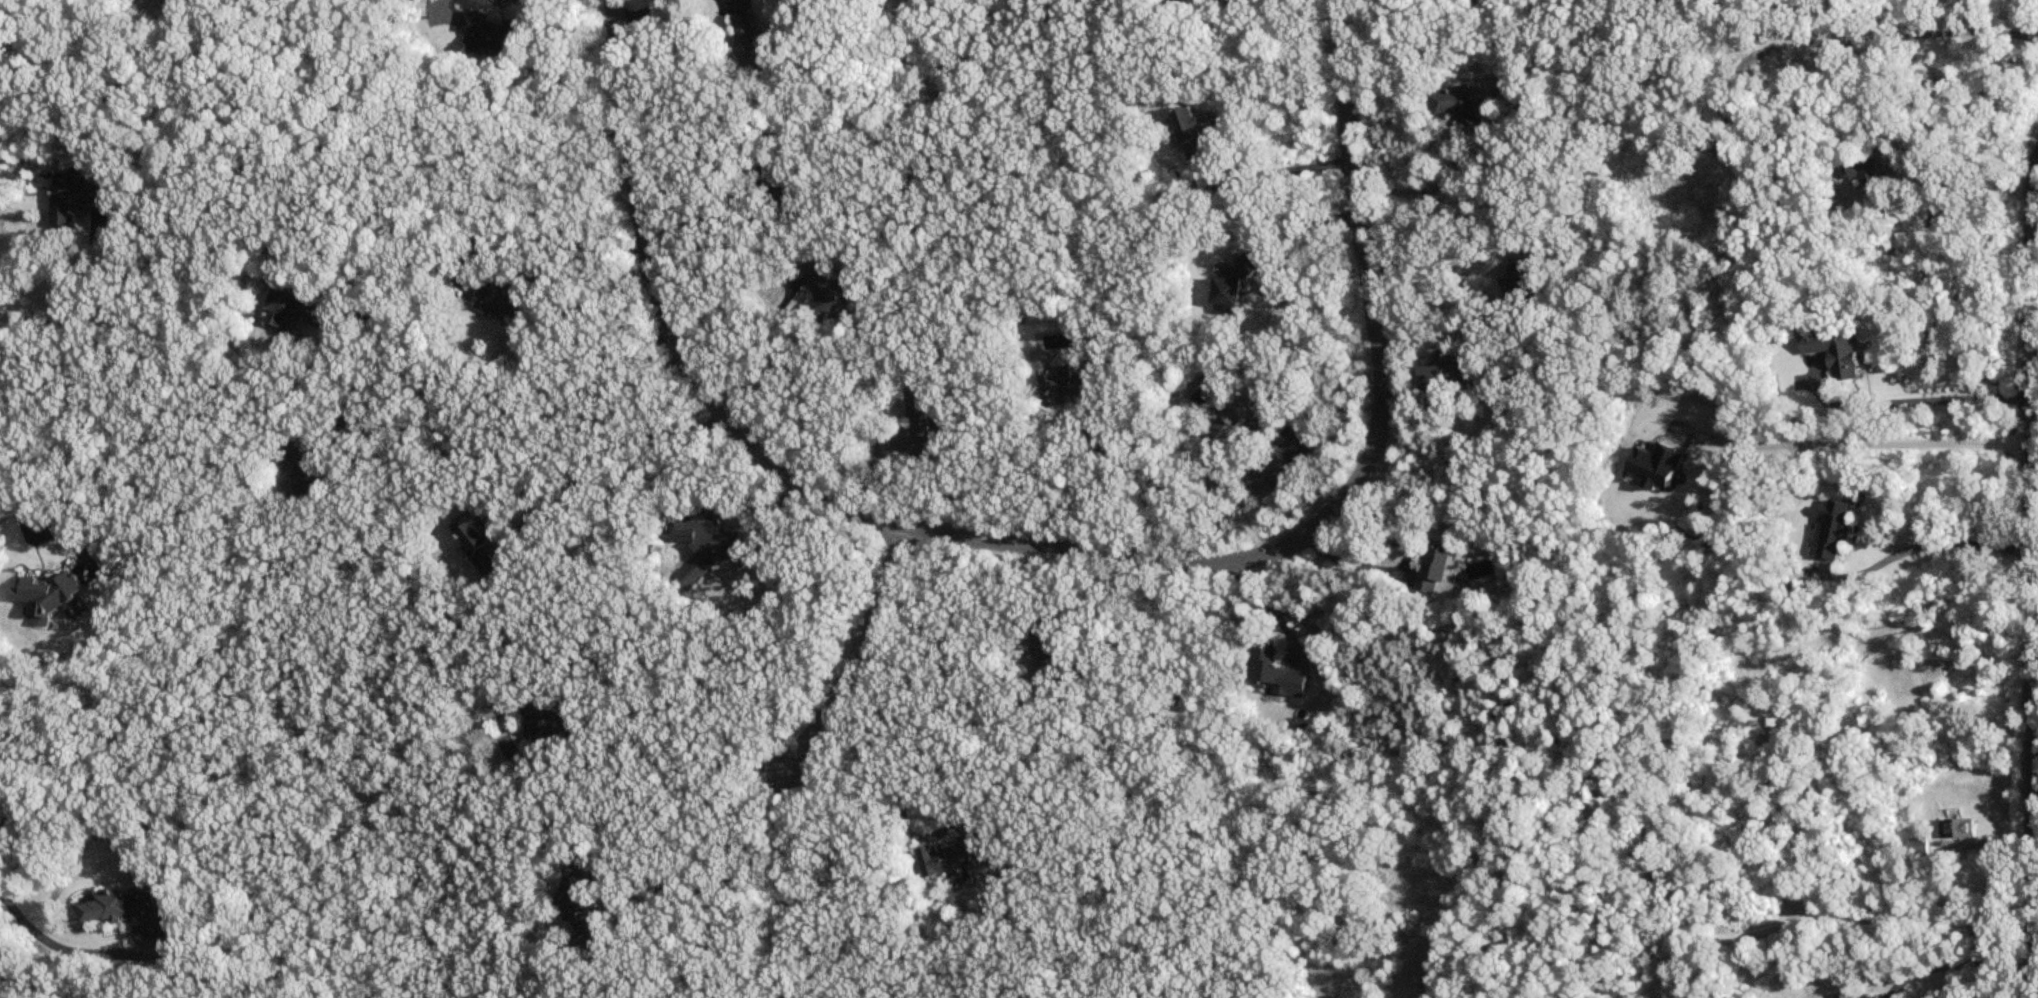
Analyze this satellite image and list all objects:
road: (651, 11)
building: (493, 35)
building: (751, 42)
building: (1458, 109)
building: (1197, 134)
road: (467, 157)
road: (1283, 169)
building: (1870, 176)
building: (74, 195)
road: (1972, 195)
road: (718, 218)
road: (1299, 229)
road: (517, 236)
building: (1228, 289)
building: (828, 292)
building: (496, 296)
building: (296, 310)
road: (58, 311)
road: (748, 333)
building: (1832, 353)
building: (1441, 377)
building: (1068, 385)
road: (1923, 401)
building: (1234, 418)
building: (925, 422)
road: (532, 423)
road: (1859, 438)
road: (618, 448)
building: (307, 466)
road: (1097, 489)
road: (18, 500)
road: (1181, 507)
building: (1830, 531)
building: (704, 535)
road: (1968, 544)
building: (484, 545)
road: (1062, 548)
road: (1351, 565)
building: (1431, 567)
road: (2030, 578)
building: (50, 595)
road: (1269, 608)
road: (1107, 617)
road: (859, 654)
building: (1052, 656)
building: (1272, 673)
building: (551, 720)
road: (690, 762)
road: (885, 767)
building: (1956, 828)
building: (951, 856)
road: (744, 863)
road: (780, 880)
building: (586, 910)
building: (132, 911)
road: (1839, 927)
road: (42, 939)
building: (1842, 995)

